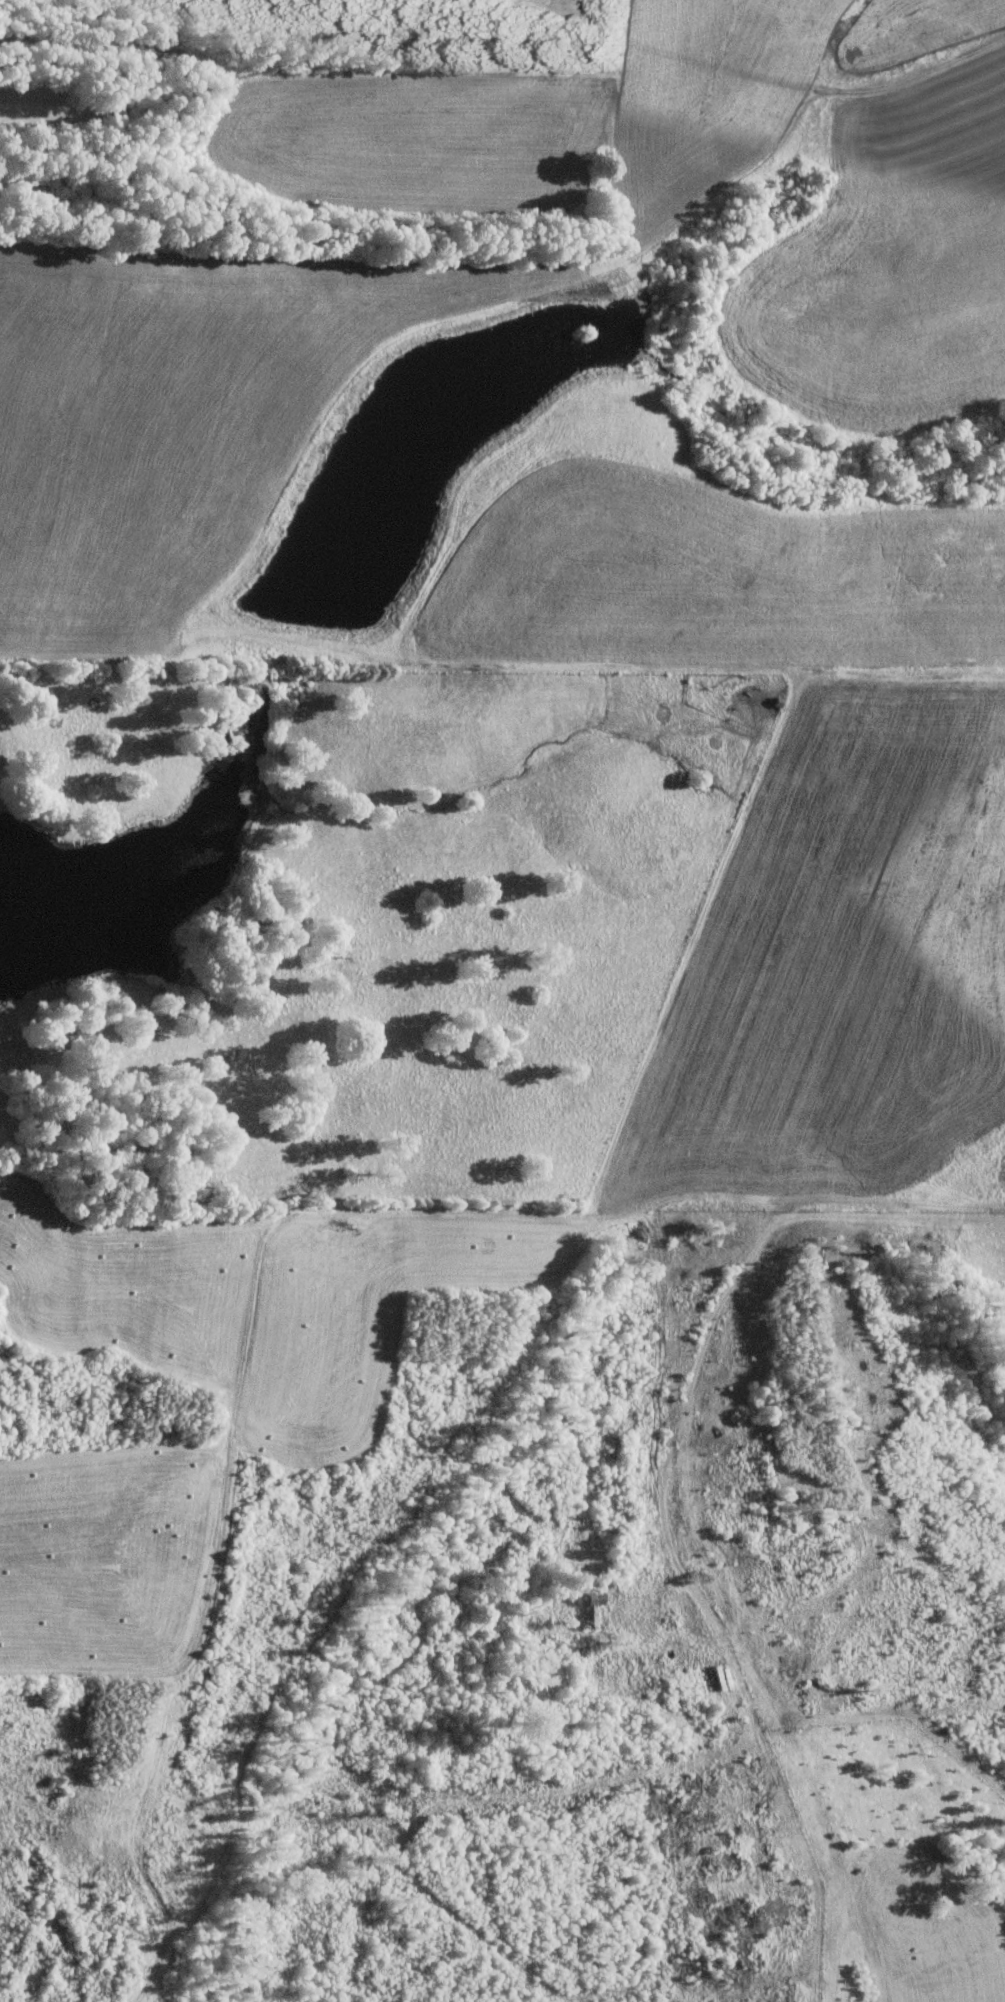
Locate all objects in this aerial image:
road: (684, 1305)

